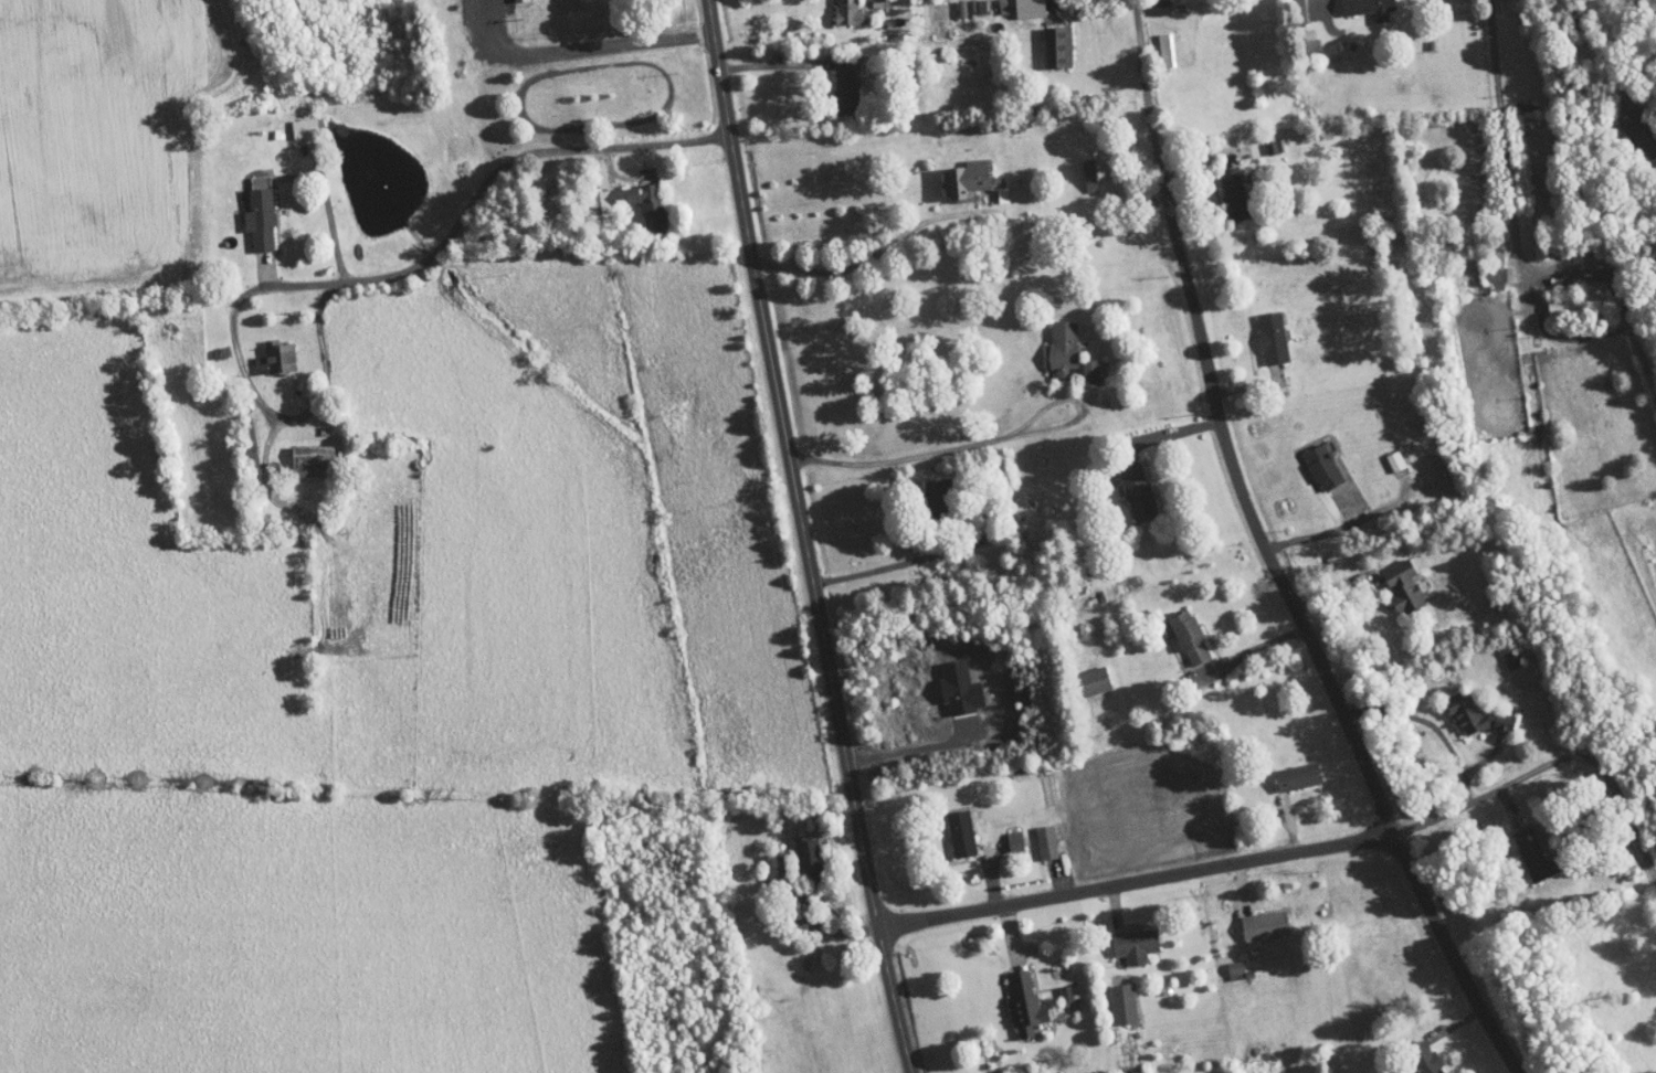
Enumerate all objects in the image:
building: (1149, 3)
building: (1017, 4)
building: (1338, 7)
building: (1288, 8)
road: (1069, 18)
building: (1298, 33)
building: (1045, 39)
road: (602, 40)
building: (1154, 42)
road: (1592, 44)
road: (485, 49)
road: (780, 64)
building: (833, 81)
building: (292, 120)
building: (1632, 128)
road: (545, 132)
road: (1191, 166)
building: (1078, 168)
road: (683, 172)
building: (963, 173)
building: (1223, 187)
road: (479, 196)
building: (636, 199)
road: (1515, 201)
road: (315, 203)
building: (247, 212)
road: (872, 249)
building: (1486, 263)
building: (1551, 298)
building: (1261, 330)
building: (1057, 347)
building: (263, 351)
road: (1238, 382)
road: (291, 419)
road: (1150, 439)
road: (945, 450)
building: (298, 453)
building: (1383, 454)
building: (1311, 459)
building: (1125, 484)
building: (924, 489)
road: (1307, 512)
road: (805, 538)
road: (1269, 555)
road: (880, 566)
building: (1391, 580)
building: (1178, 630)
road: (1255, 630)
road: (1348, 637)
building: (1083, 673)
building: (948, 682)
building: (1462, 709)
road: (1405, 737)
road: (907, 741)
road: (1555, 759)
building: (1286, 769)
road: (1287, 824)
building: (949, 827)
building: (1003, 833)
building: (1034, 836)
building: (1520, 847)
building: (797, 851)
building: (762, 861)
road: (885, 865)
road: (1137, 878)
road: (1267, 880)
road: (1165, 899)
building: (1252, 920)
building: (1124, 938)
building: (1223, 964)
building: (1057, 987)
road: (920, 994)
building: (1111, 997)
building: (1012, 998)
road: (1456, 1023)
building: (1414, 1054)

